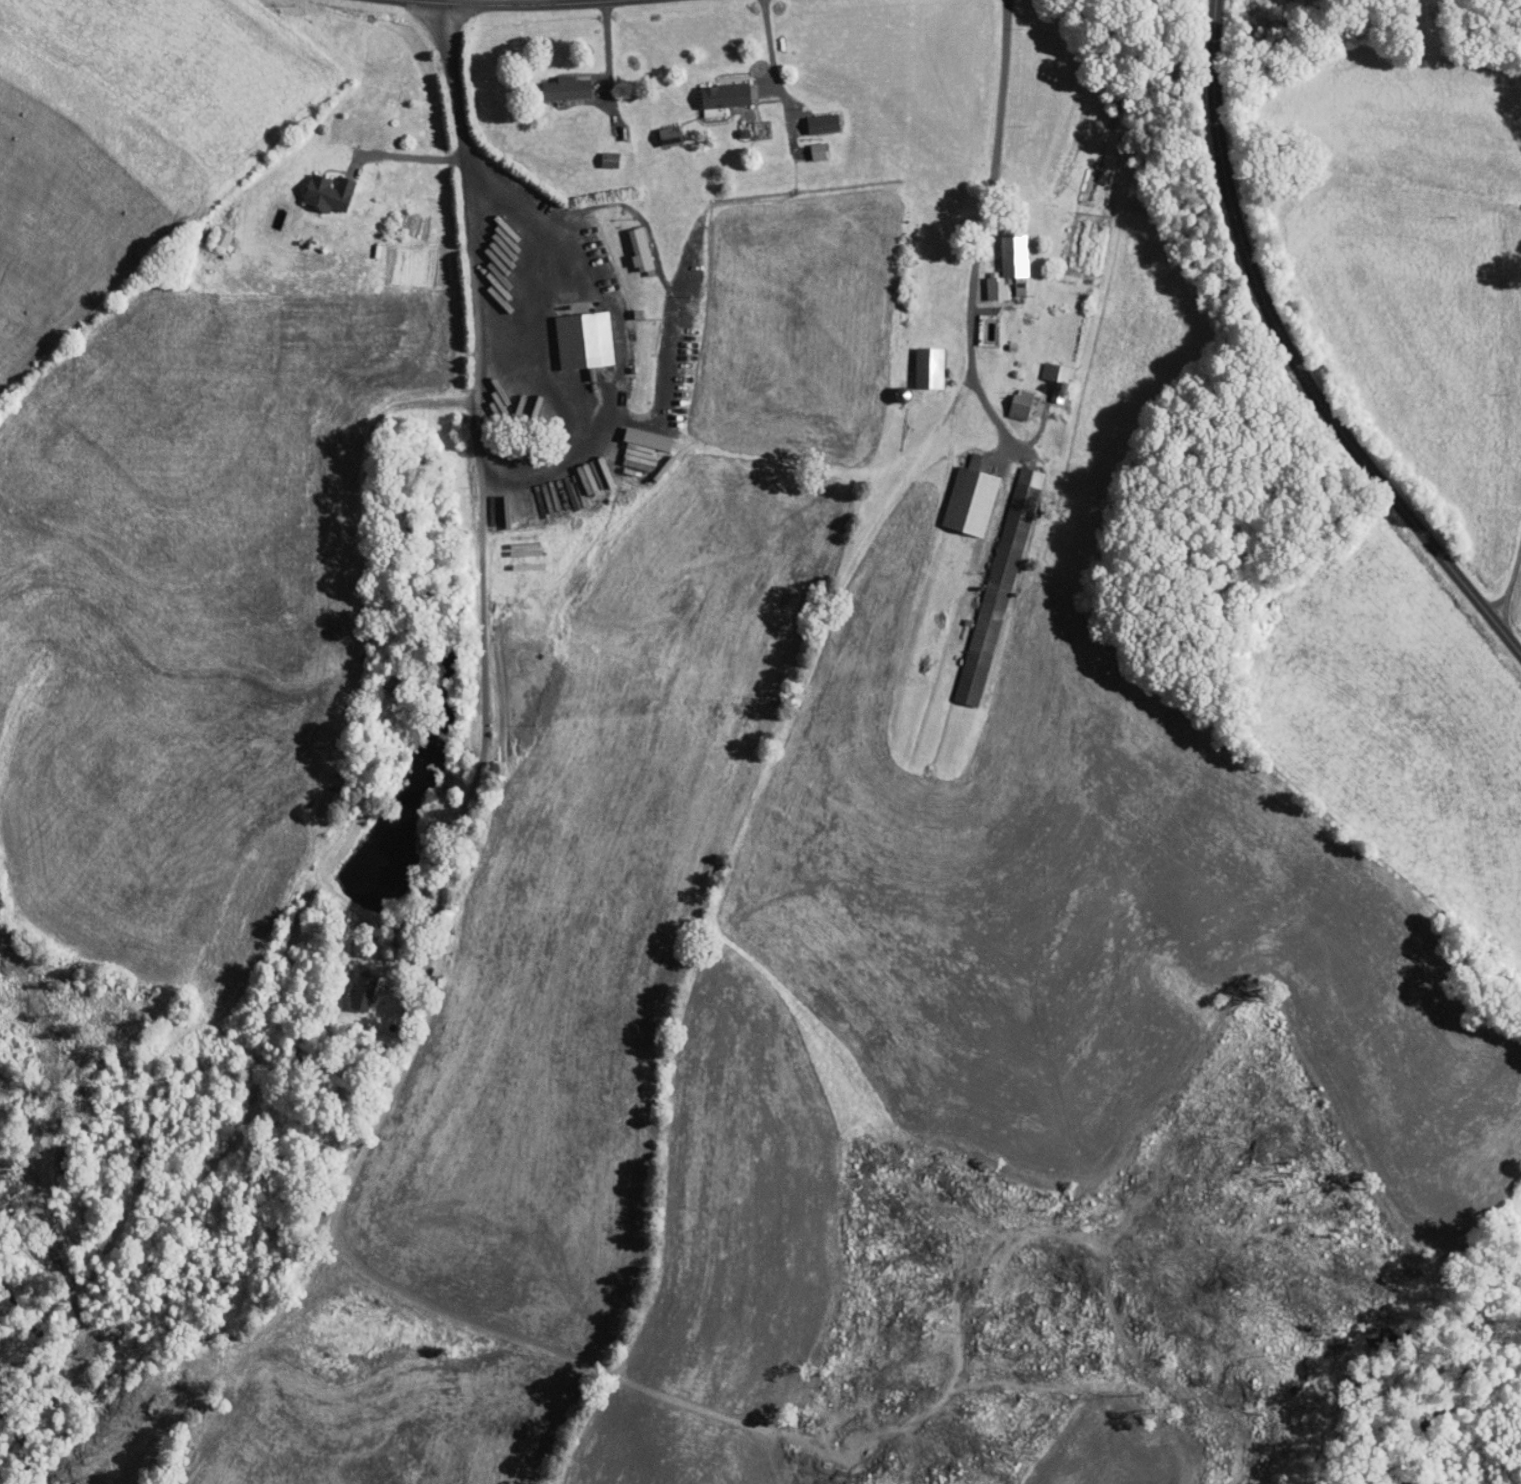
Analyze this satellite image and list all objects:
road: (513, 7)
road: (767, 43)
road: (606, 52)
building: (568, 88)
building: (728, 95)
building: (826, 124)
building: (821, 151)
road: (412, 156)
building: (611, 160)
building: (332, 193)
road: (982, 231)
building: (223, 238)
building: (643, 251)
building: (1006, 267)
building: (587, 339)
road: (1291, 361)
building: (925, 367)
building: (1055, 372)
building: (1054, 393)
building: (520, 396)
road: (611, 399)
building: (1016, 404)
building: (645, 447)
building: (966, 499)
road: (1508, 579)
building: (999, 583)
building: (366, 991)

